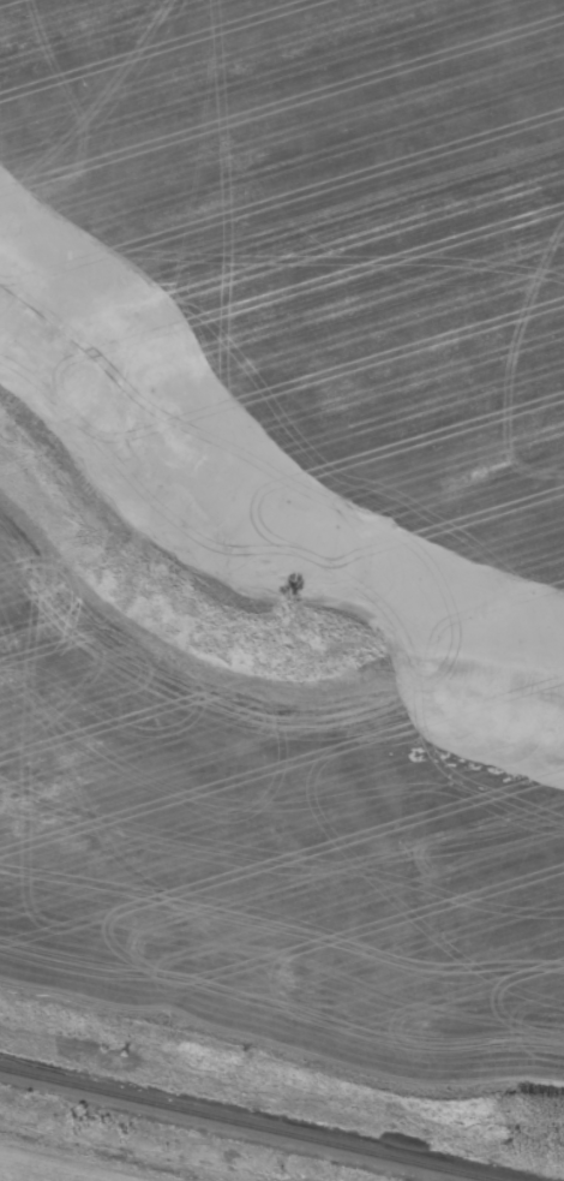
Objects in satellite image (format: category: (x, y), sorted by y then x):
railway: (246, 1123)

